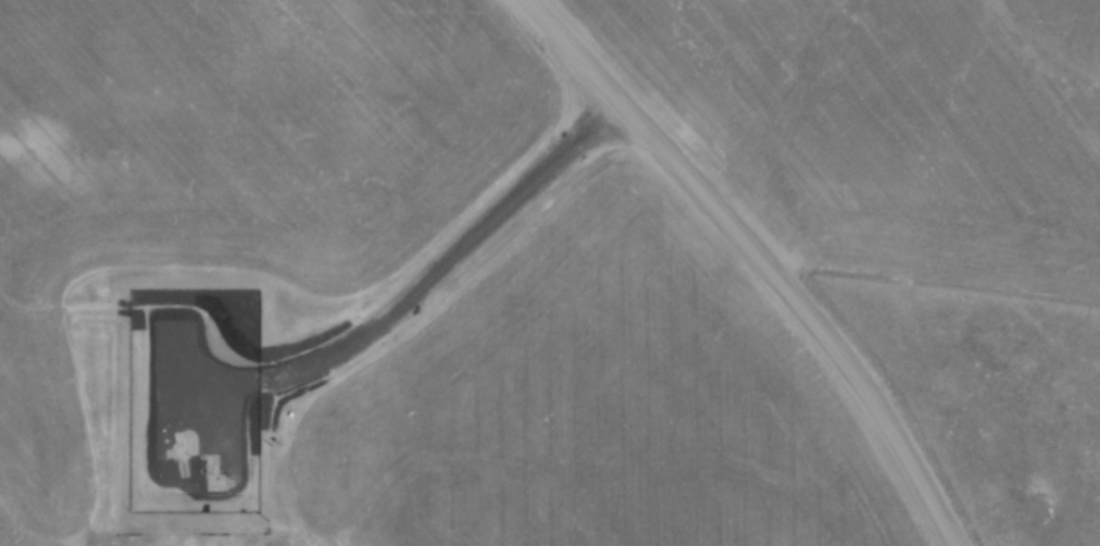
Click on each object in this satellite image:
crop: (874, 131)
crop: (233, 166)
road: (758, 258)
road: (425, 288)
crop: (598, 405)

